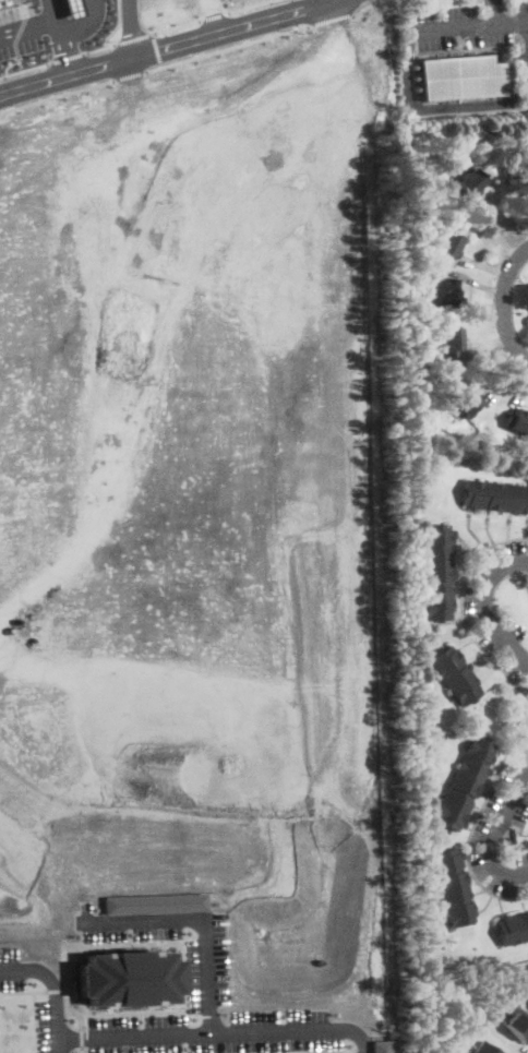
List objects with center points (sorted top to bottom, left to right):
road: (367, 4)
road: (249, 5)
building: (73, 8)
road: (56, 10)
road: (493, 11)
road: (216, 15)
road: (217, 15)
road: (57, 20)
road: (332, 20)
road: (119, 24)
road: (465, 24)
road: (85, 25)
road: (179, 25)
road: (133, 27)
road: (21, 28)
road: (136, 37)
road: (167, 46)
road: (103, 47)
road: (228, 47)
road: (158, 48)
road: (70, 57)
road: (12, 62)
road: (25, 69)
road: (132, 75)
building: (463, 77)
road: (57, 95)
road: (430, 108)
building: (432, 166)
building: (471, 181)
building: (517, 181)
building: (448, 243)
building: (447, 294)
road: (502, 304)
building: (449, 346)
building: (465, 399)
building: (517, 420)
road: (202, 478)
building: (495, 495)
building: (436, 571)
road: (485, 605)
road: (153, 622)
building: (456, 674)
road: (525, 738)
building: (466, 781)
road: (497, 834)
road: (468, 839)
building: (454, 886)
building: (155, 902)
road: (195, 918)
building: (513, 926)
building: (128, 978)
road: (53, 988)
road: (22, 991)
road: (32, 1021)
building: (518, 1026)
road: (217, 1030)
building: (377, 1045)
building: (485, 1049)

